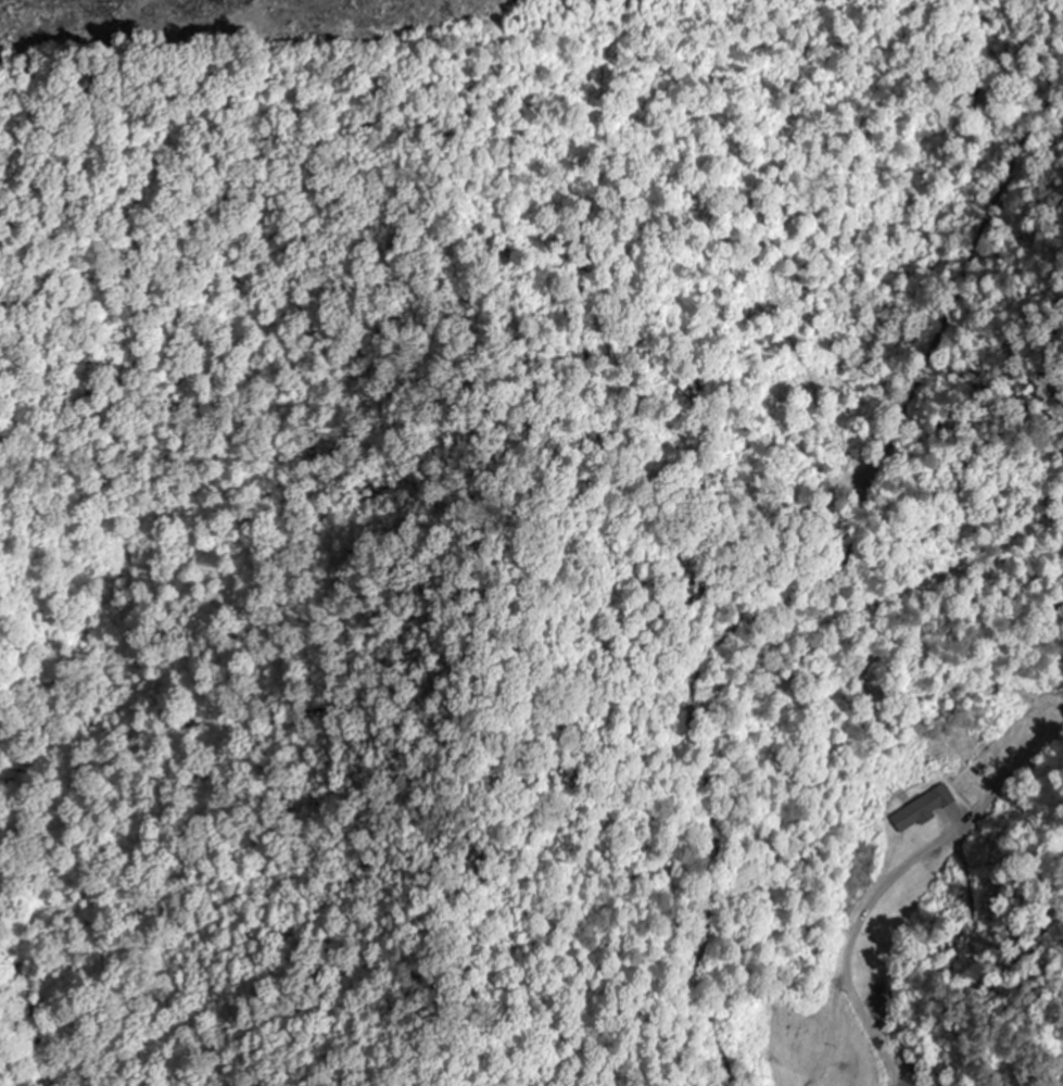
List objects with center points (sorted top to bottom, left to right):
road: (808, 610)
building: (922, 809)

